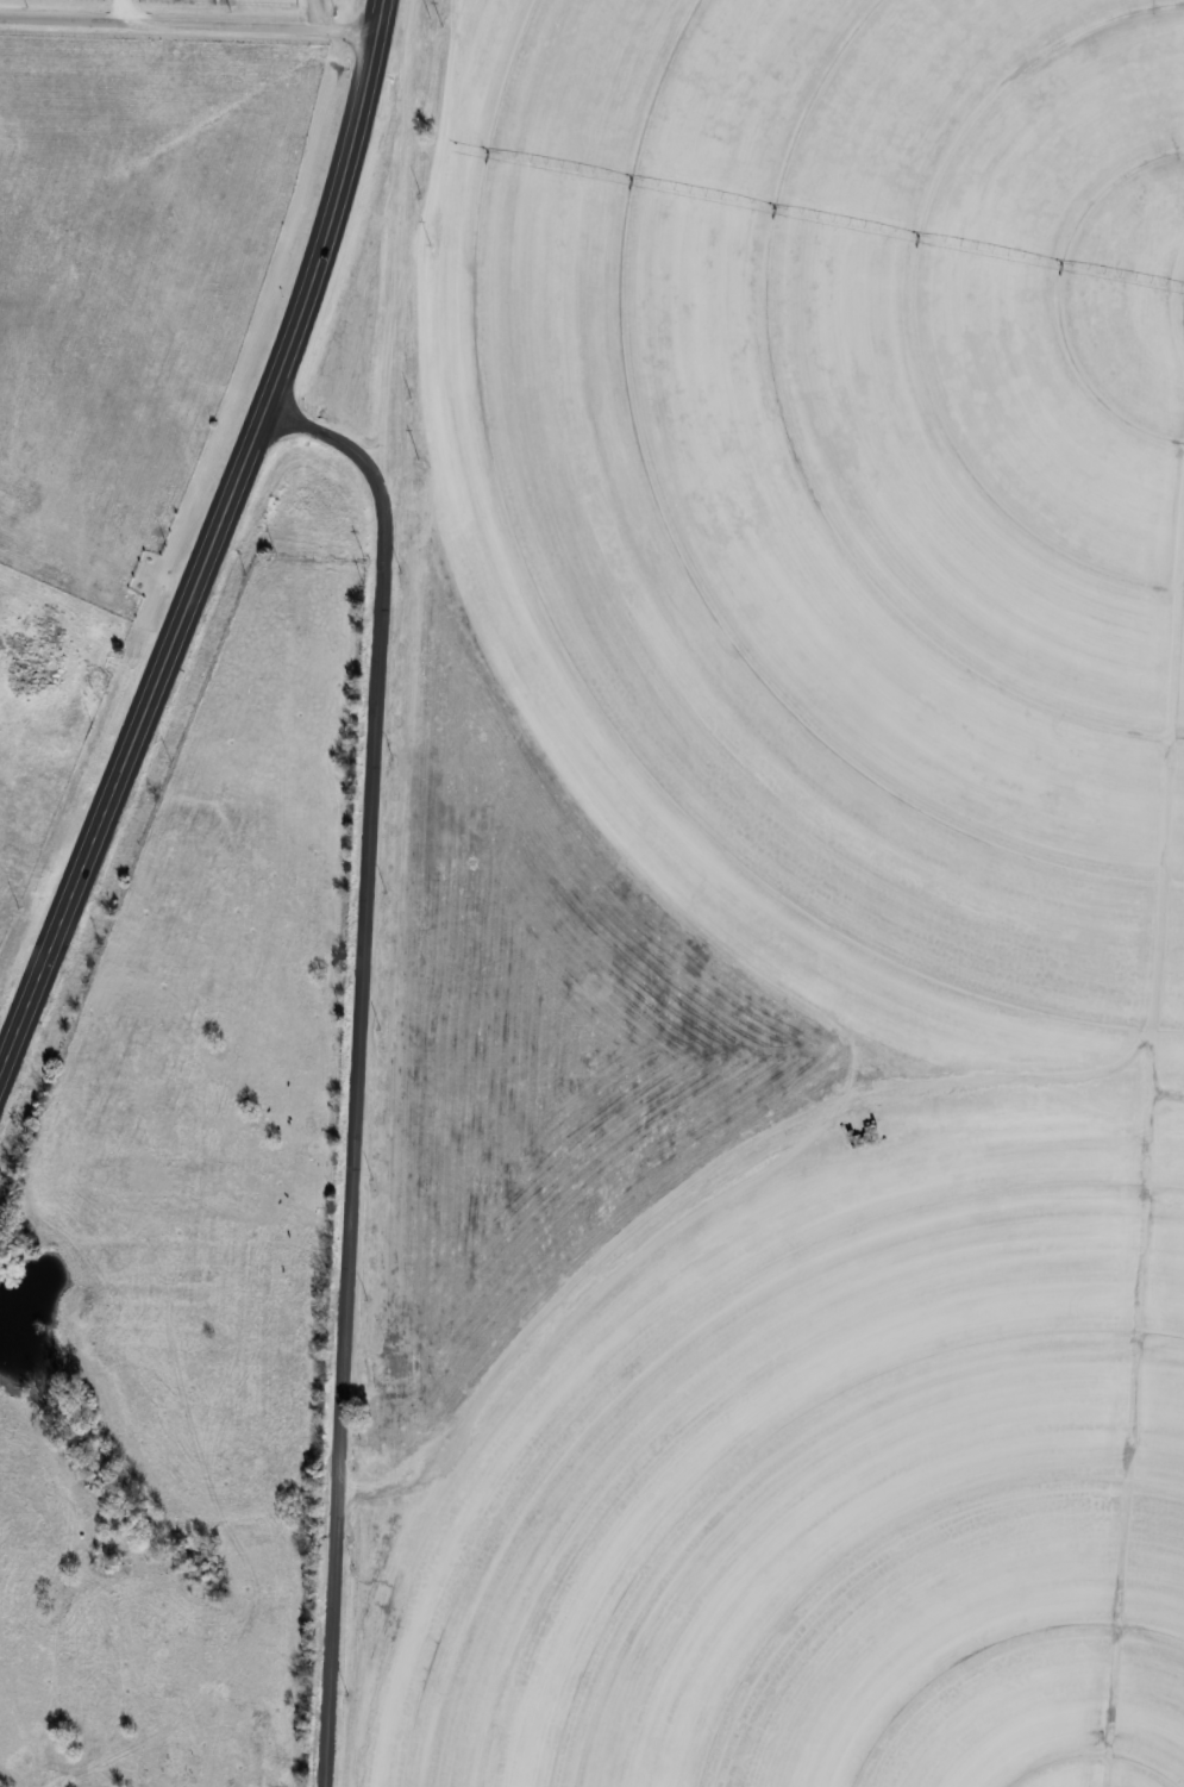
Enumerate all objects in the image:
road: (124, 11)
road: (317, 13)
road: (190, 23)
road: (337, 207)
road: (131, 737)
road: (356, 1066)

